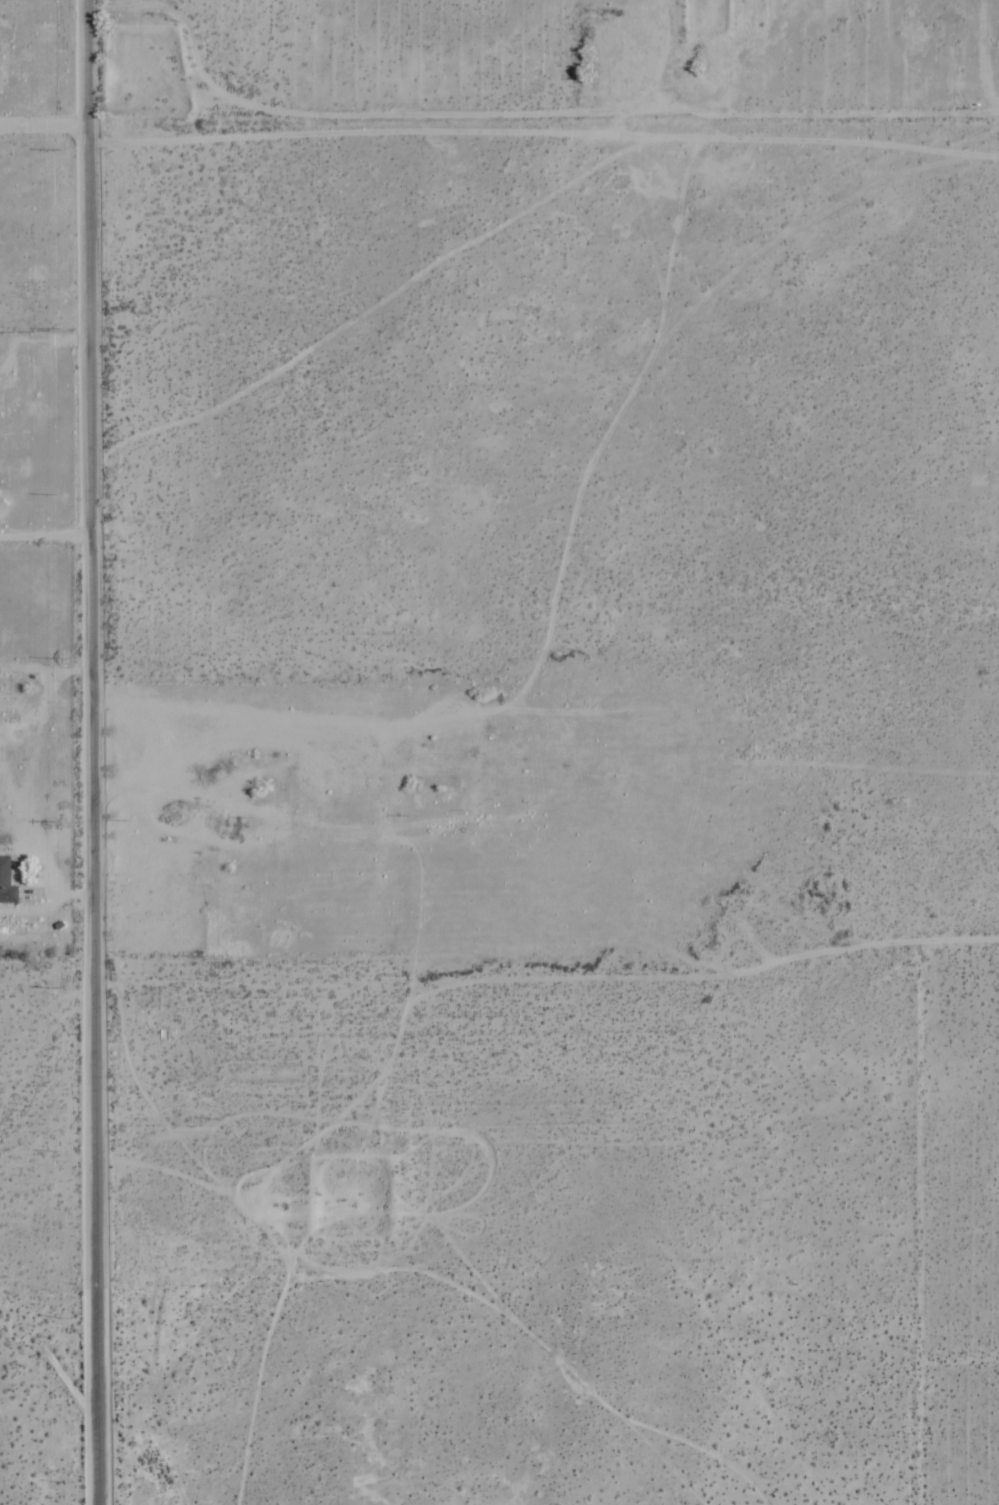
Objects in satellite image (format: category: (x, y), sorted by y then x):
road: (45, 129)
road: (45, 534)
road: (87, 752)
building: (8, 881)

